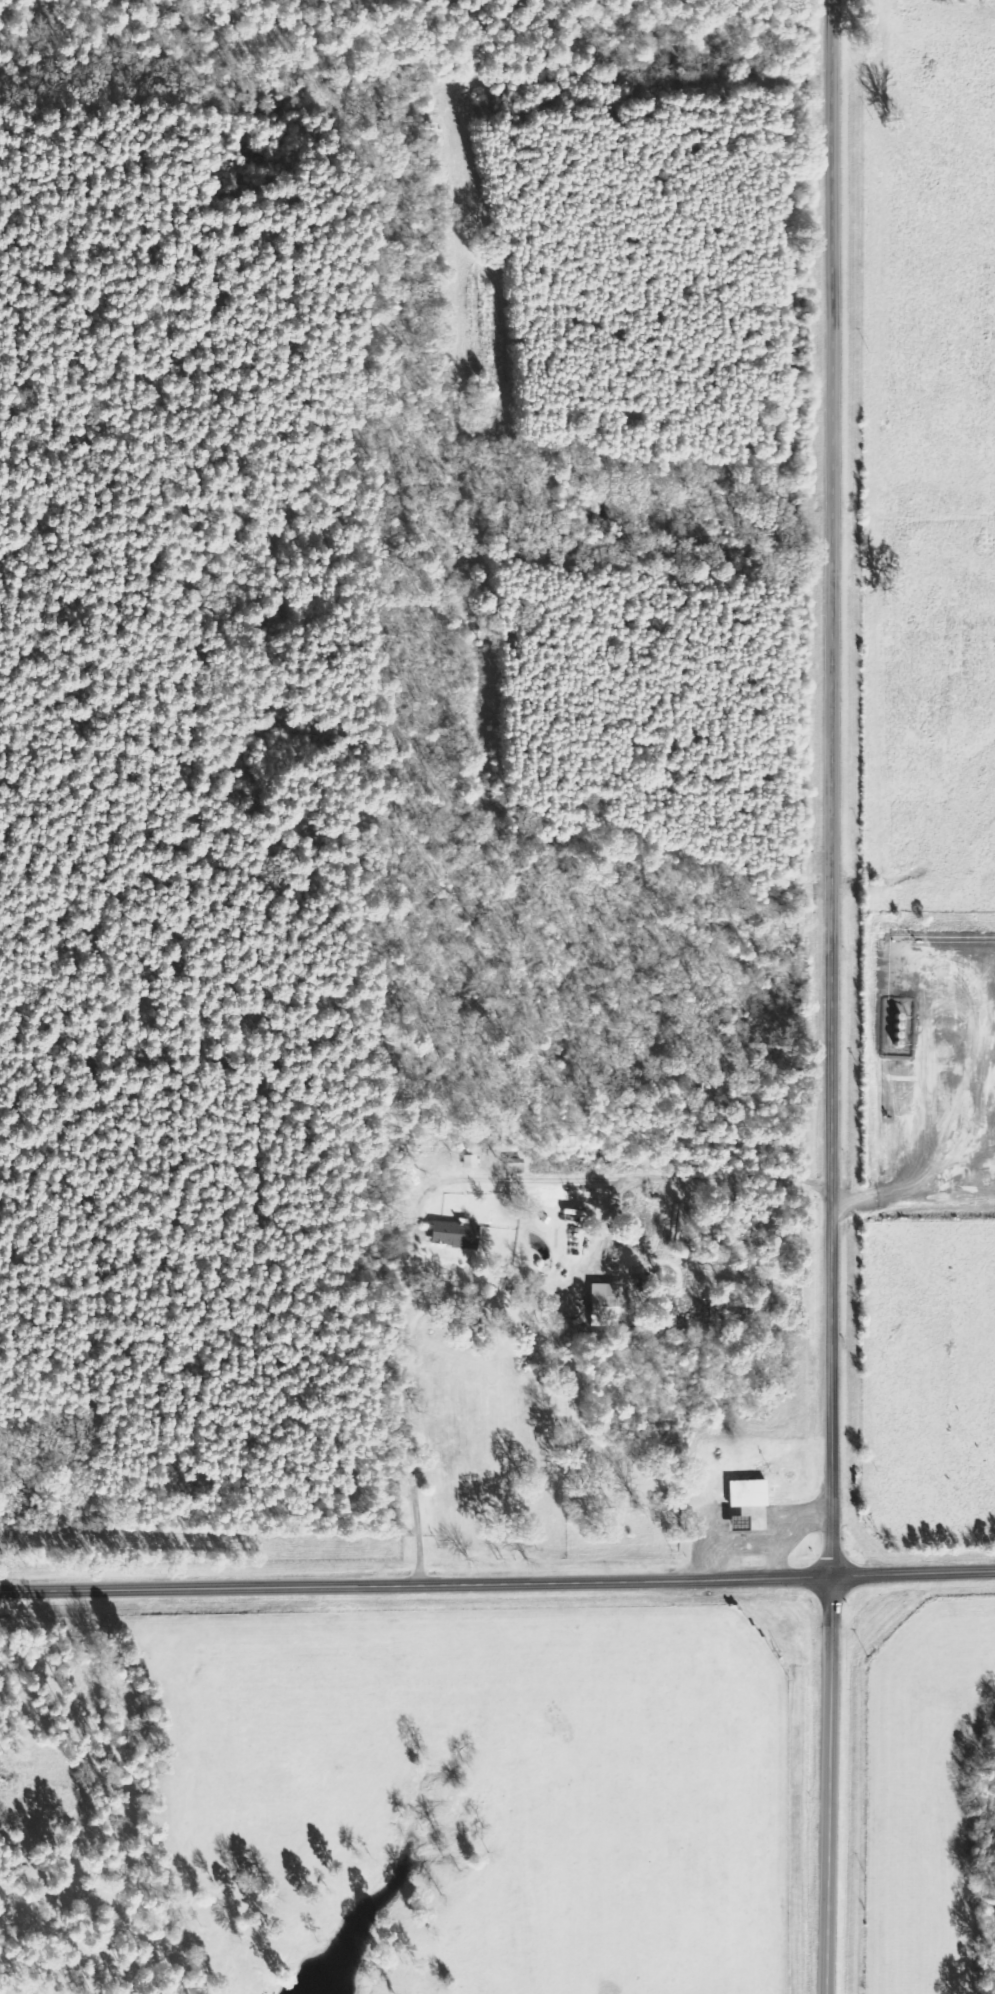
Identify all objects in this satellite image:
road: (832, 788)
building: (453, 1235)
building: (603, 1306)
building: (746, 1494)
road: (497, 1584)
road: (828, 1785)

